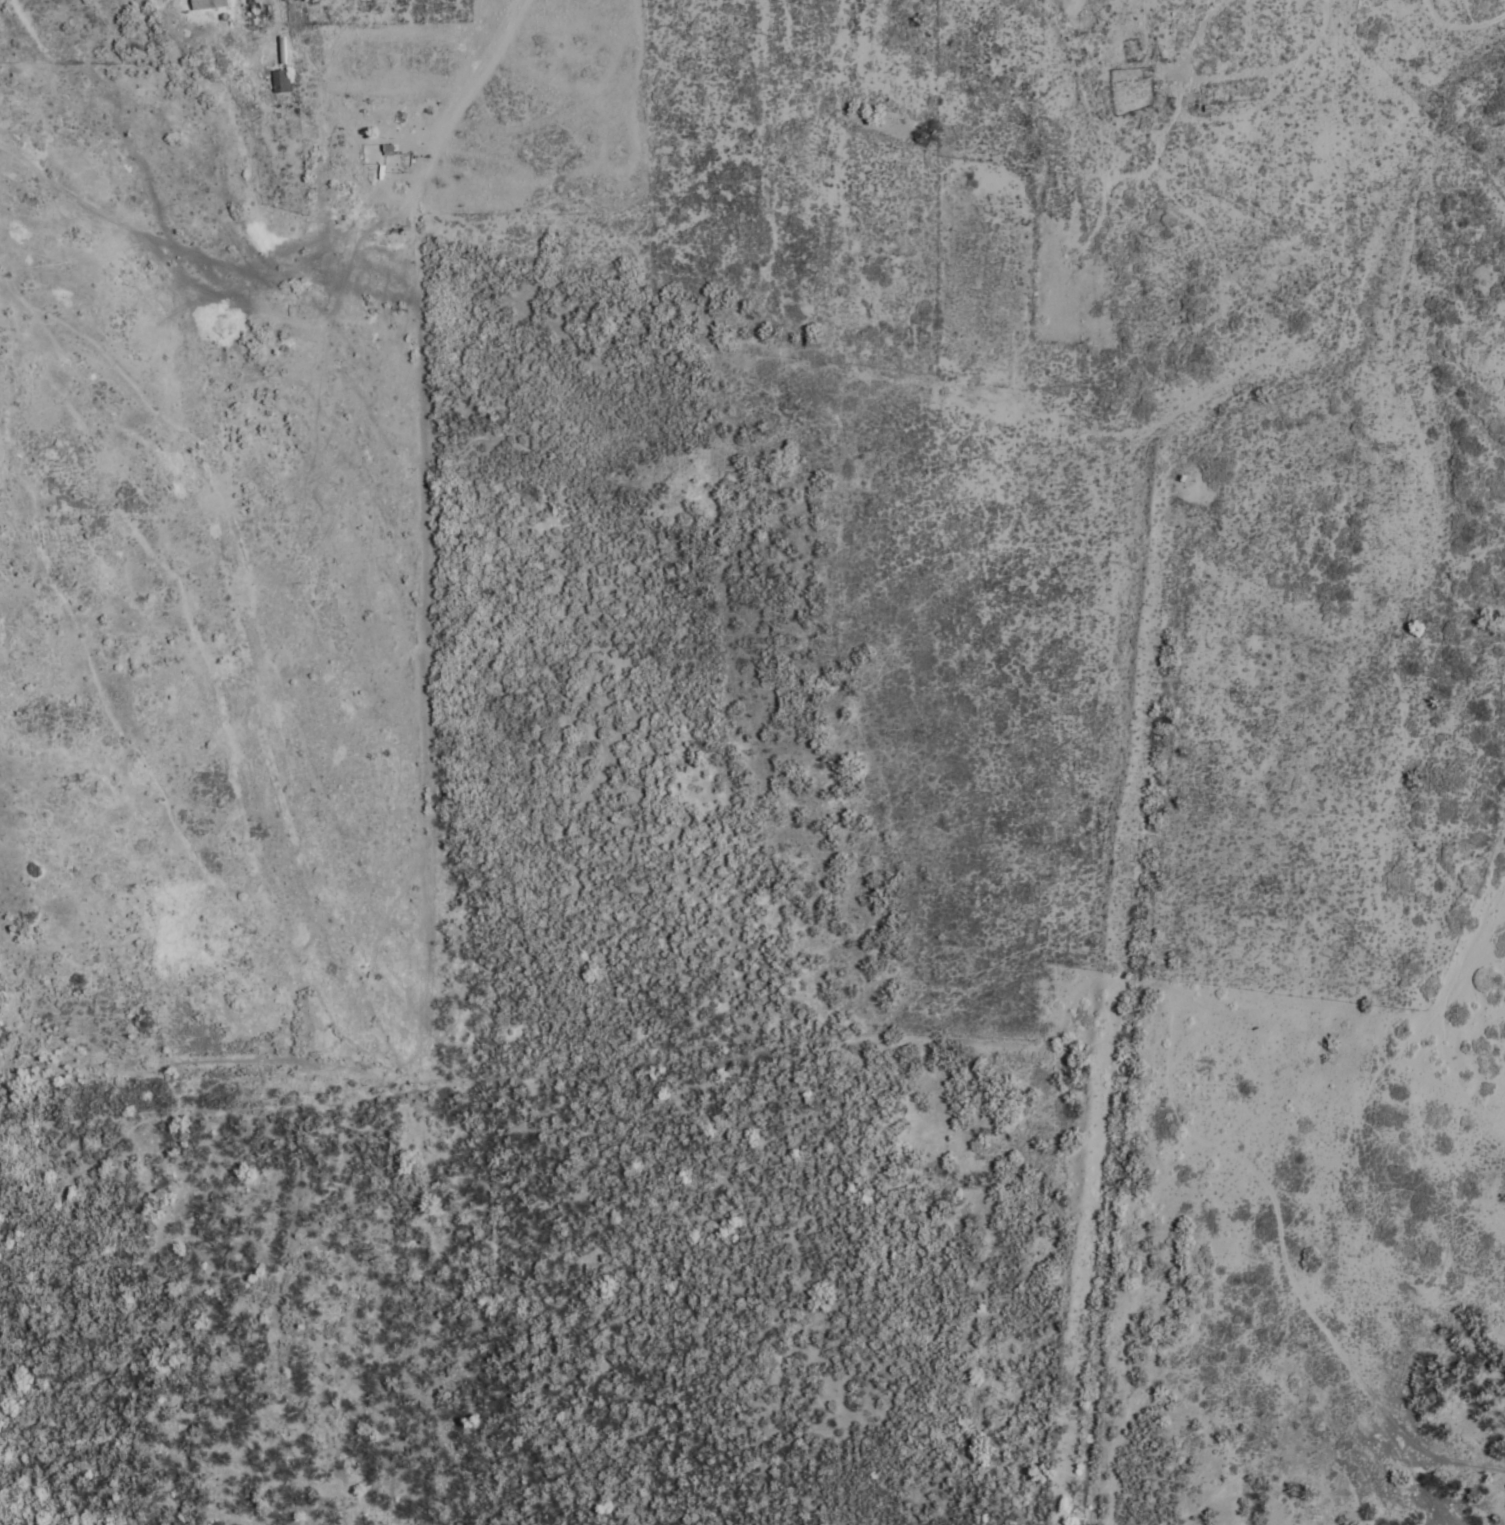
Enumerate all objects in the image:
building: (209, 4)
building: (281, 82)
road: (802, 992)

